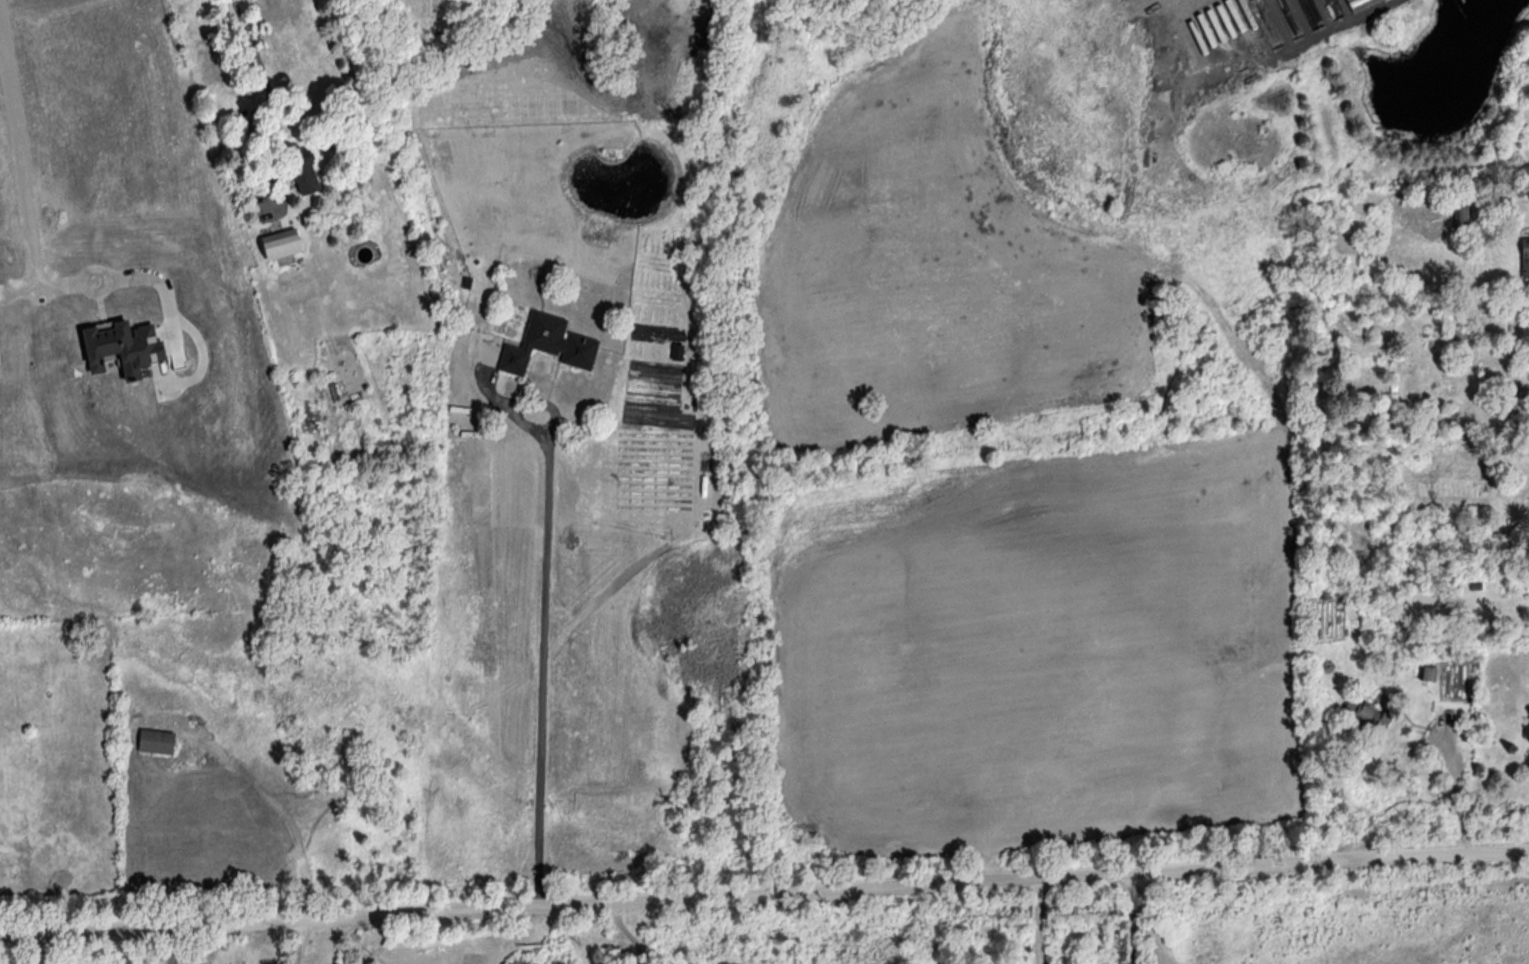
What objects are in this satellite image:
building: (1357, 3)
road: (265, 81)
road: (21, 156)
building: (298, 171)
building: (1462, 218)
building: (278, 247)
building: (1524, 262)
road: (137, 272)
building: (7, 290)
road: (20, 291)
building: (546, 345)
road: (548, 656)
building: (1427, 676)
building: (1364, 717)
building: (159, 742)
road: (1457, 794)
road: (764, 893)
road: (1137, 918)
road: (1039, 921)
road: (627, 933)
road: (302, 941)
road: (172, 944)
road: (41, 948)

